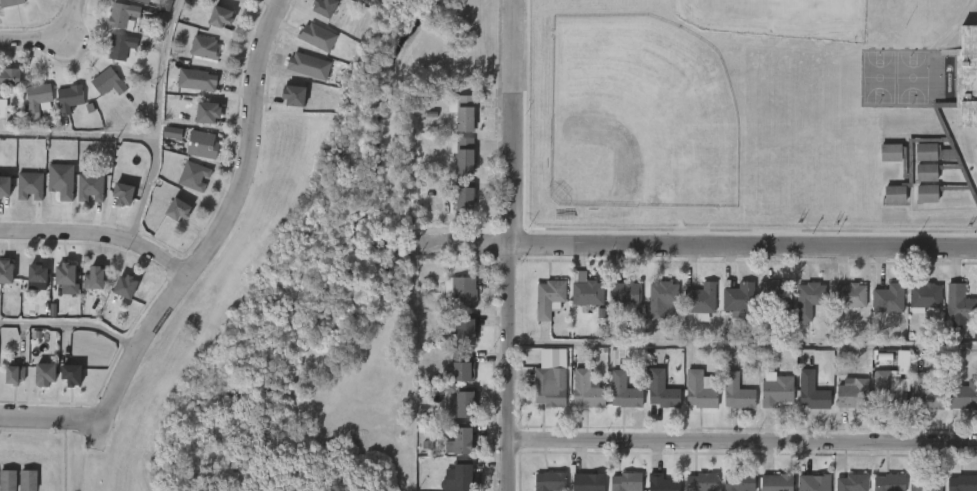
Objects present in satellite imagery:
building: (236, 0)
building: (143, 1)
building: (9, 3)
building: (323, 7)
building: (122, 15)
building: (219, 16)
building: (319, 37)
road: (51, 38)
building: (120, 46)
building: (206, 47)
building: (311, 66)
road: (161, 68)
building: (8, 79)
building: (195, 80)
building: (107, 81)
building: (292, 95)
building: (67, 98)
building: (35, 100)
building: (2, 108)
building: (206, 112)
building: (464, 113)
building: (968, 117)
building: (172, 133)
road: (130, 136)
building: (204, 145)
building: (464, 155)
building: (193, 176)
building: (60, 180)
building: (29, 185)
building: (4, 186)
building: (89, 187)
building: (120, 194)
building: (462, 201)
building: (181, 210)
road: (97, 232)
road: (213, 235)
road: (471, 242)
road: (743, 243)
road: (510, 245)
building: (4, 271)
building: (35, 273)
building: (63, 273)
building: (92, 278)
building: (123, 286)
building: (460, 292)
building: (587, 293)
building: (624, 293)
building: (773, 294)
building: (850, 294)
building: (548, 297)
building: (925, 297)
building: (735, 298)
building: (888, 298)
building: (808, 299)
building: (661, 300)
building: (697, 300)
building: (959, 303)
road: (71, 323)
building: (464, 332)
road: (743, 344)
building: (460, 367)
building: (43, 374)
building: (14, 375)
building: (69, 375)
building: (550, 387)
building: (587, 389)
building: (660, 389)
building: (700, 389)
building: (776, 389)
building: (736, 390)
building: (623, 391)
building: (811, 391)
building: (887, 392)
building: (925, 394)
building: (853, 395)
building: (963, 396)
building: (461, 405)
road: (50, 419)
road: (743, 441)
building: (459, 442)
building: (461, 476)
building: (27, 477)
building: (550, 481)
building: (739, 481)
building: (587, 482)
building: (626, 482)
building: (702, 482)
building: (776, 482)
building: (813, 482)
building: (886, 482)
building: (922, 482)
building: (662, 483)
building: (853, 483)
building: (963, 483)

